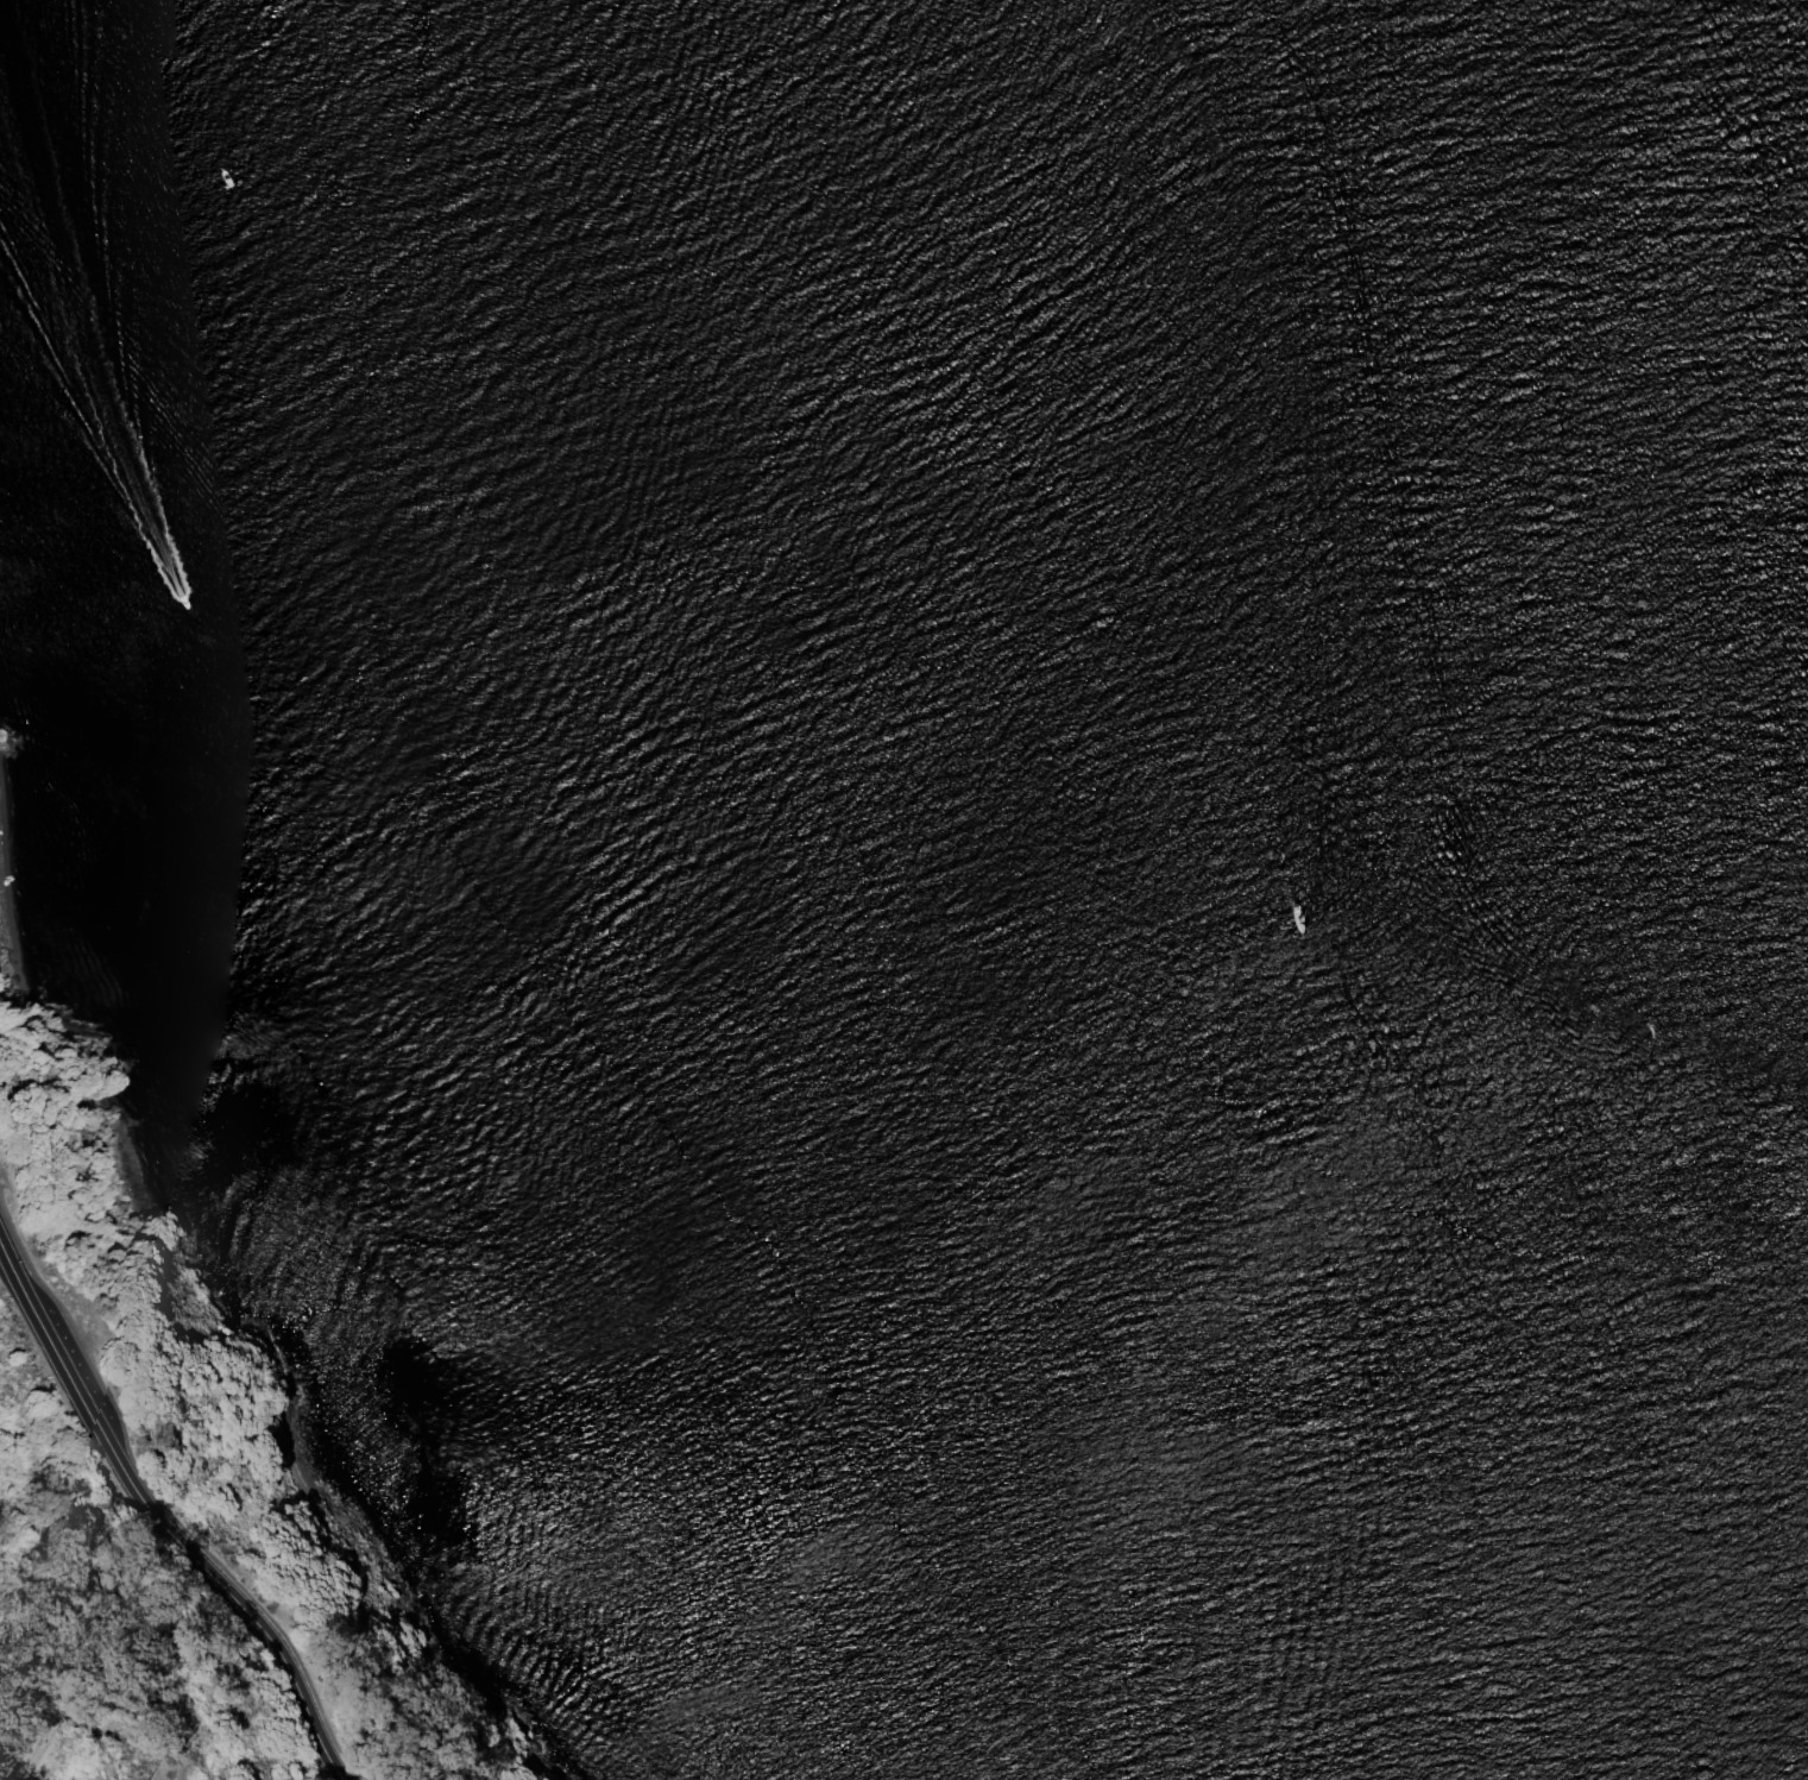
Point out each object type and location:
road: (158, 1522)

